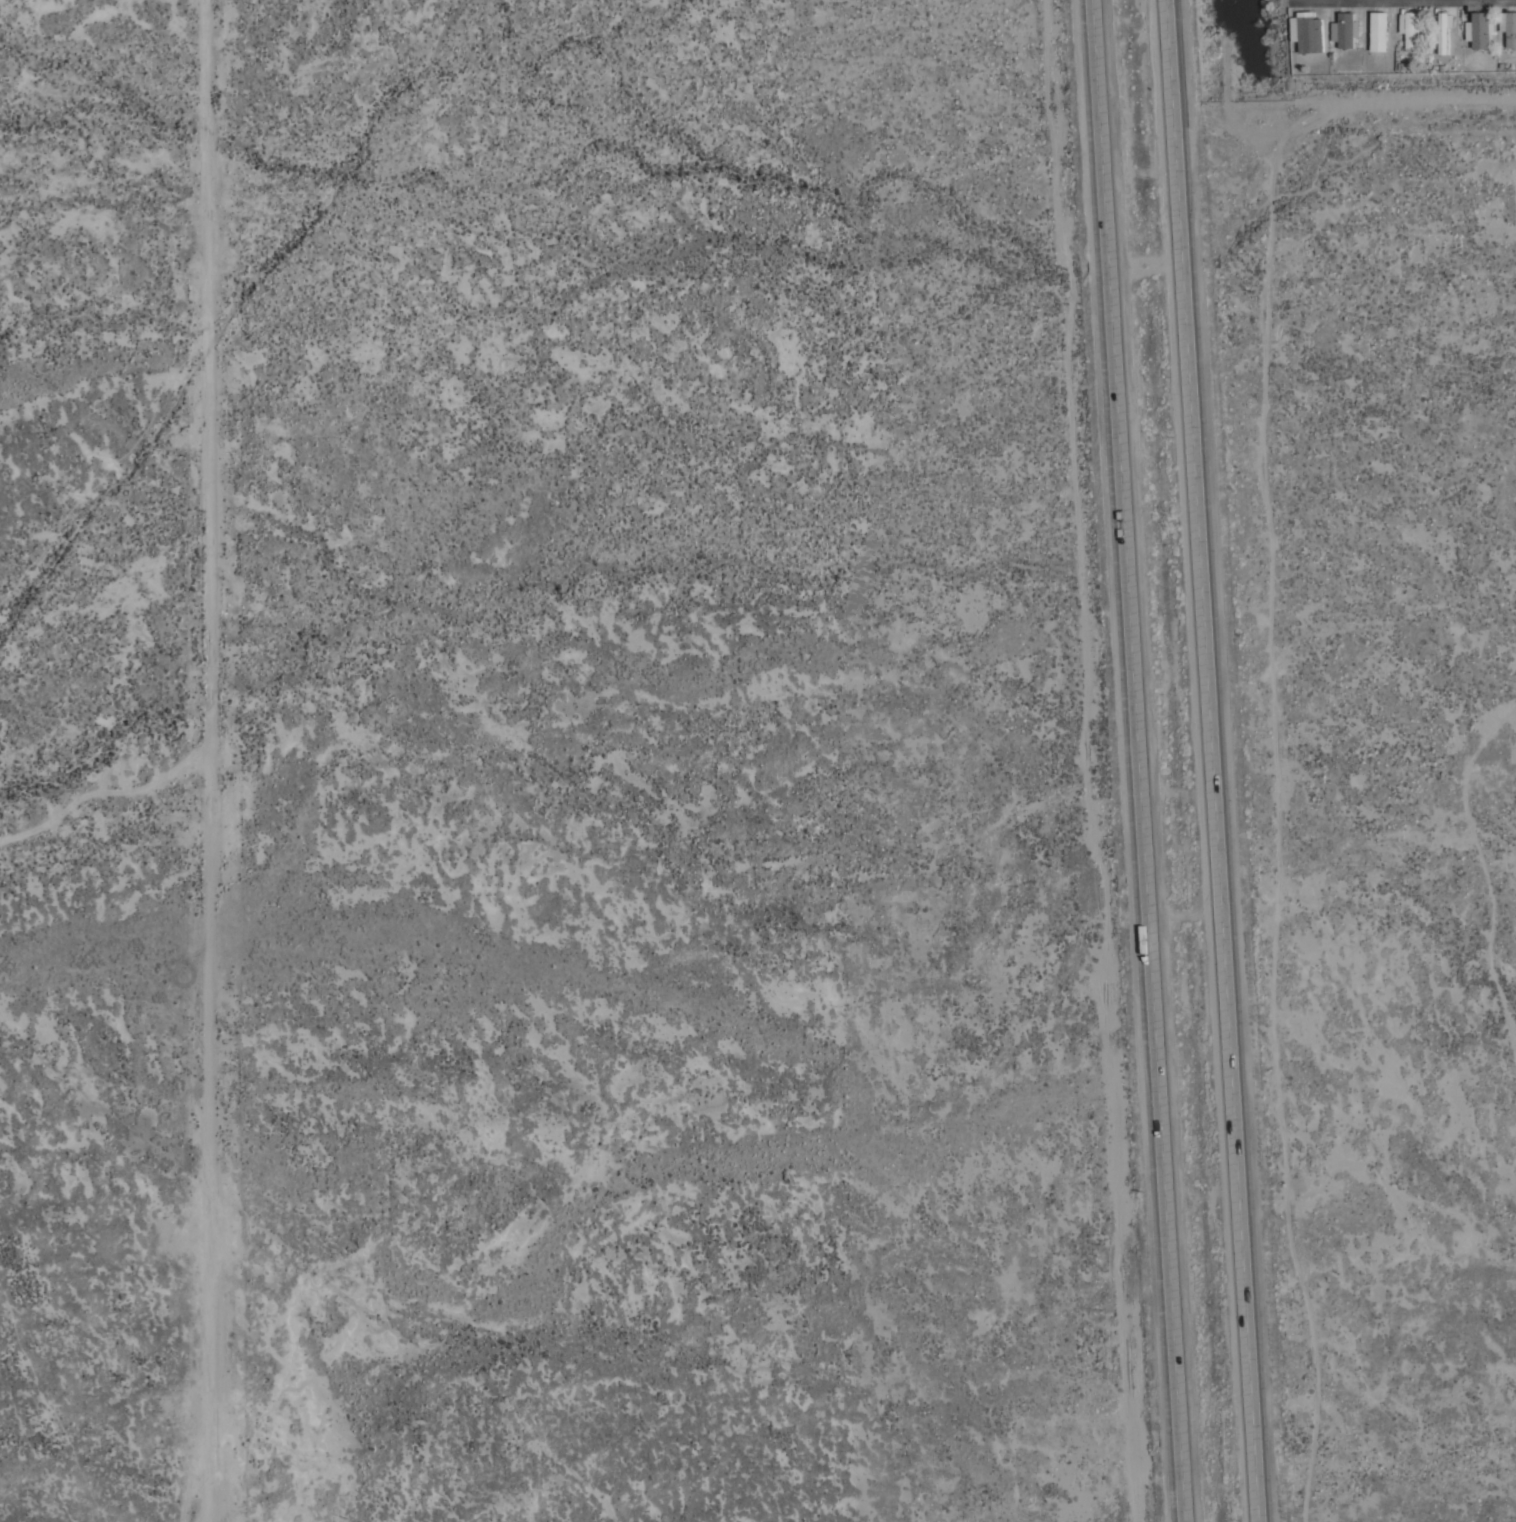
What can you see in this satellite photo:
building: (1507, 28)
building: (1407, 29)
building: (1343, 30)
building: (1478, 30)
building: (1376, 31)
building: (1466, 31)
building: (1441, 32)
building: (1308, 34)
road: (1275, 53)
road: (1369, 104)
road: (212, 761)
road: (1090, 761)
road: (1139, 761)
road: (1213, 761)

